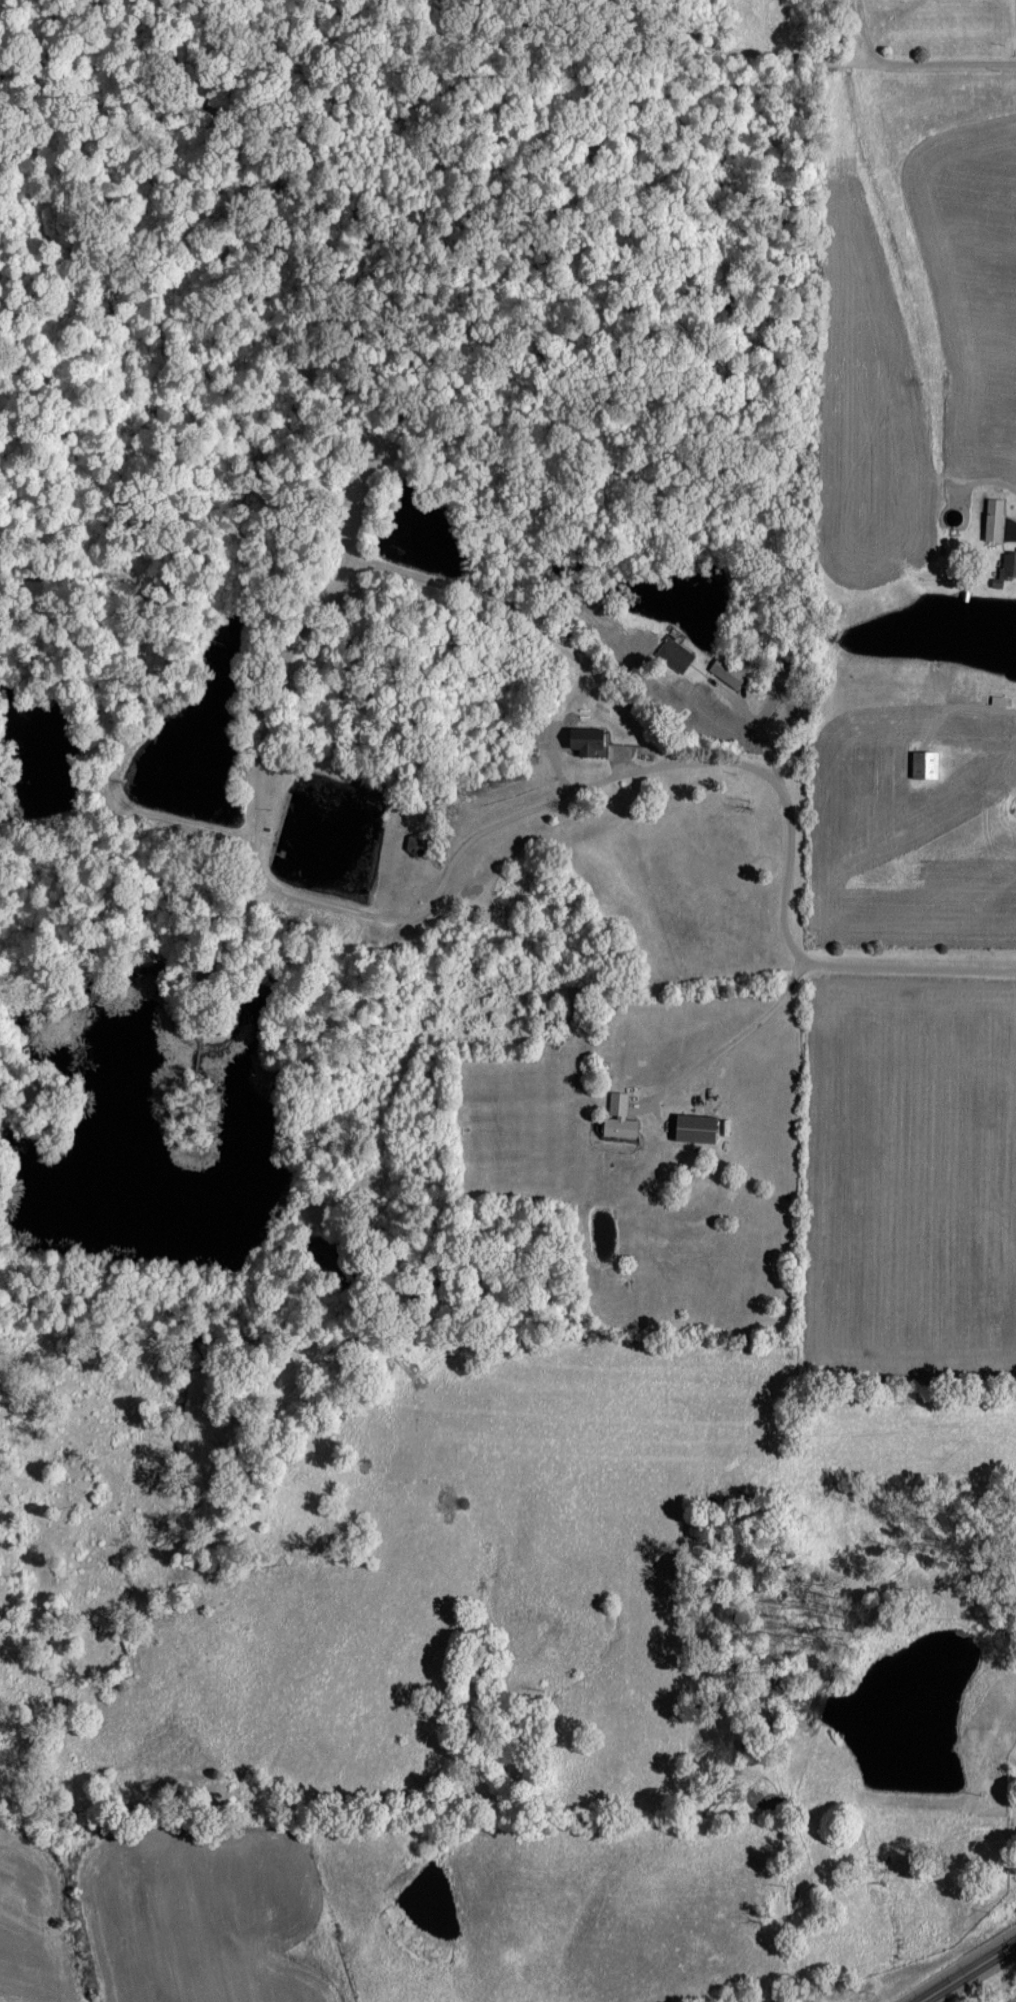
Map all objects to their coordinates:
road: (830, 60)
building: (992, 519)
building: (673, 654)
building: (726, 671)
building: (585, 739)
building: (924, 764)
road: (602, 775)
building: (415, 845)
building: (618, 1117)
building: (694, 1128)
road: (964, 1970)

